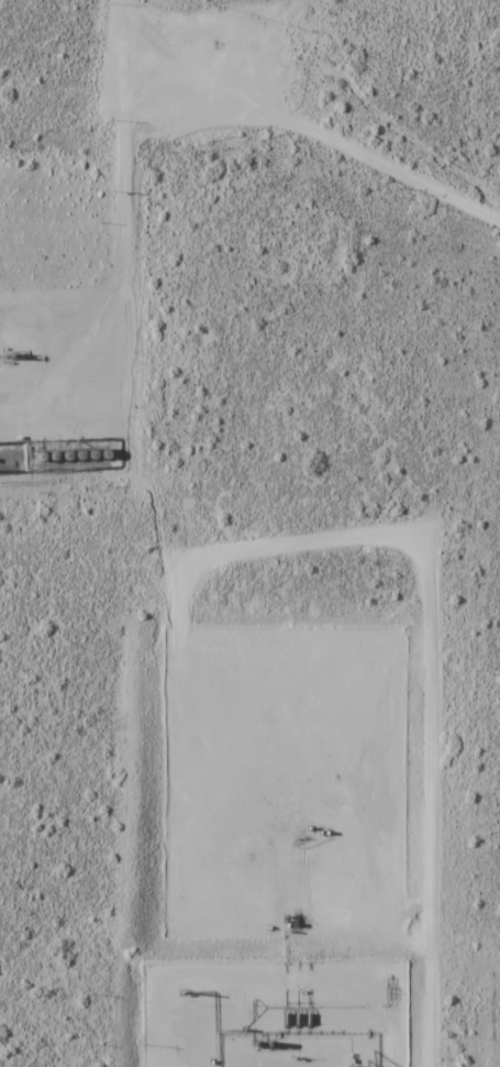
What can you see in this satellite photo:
road: (107, 15)
road: (303, 121)
road: (120, 229)
petroleum well: (12, 354)
road: (412, 538)
petroleum well: (302, 838)

